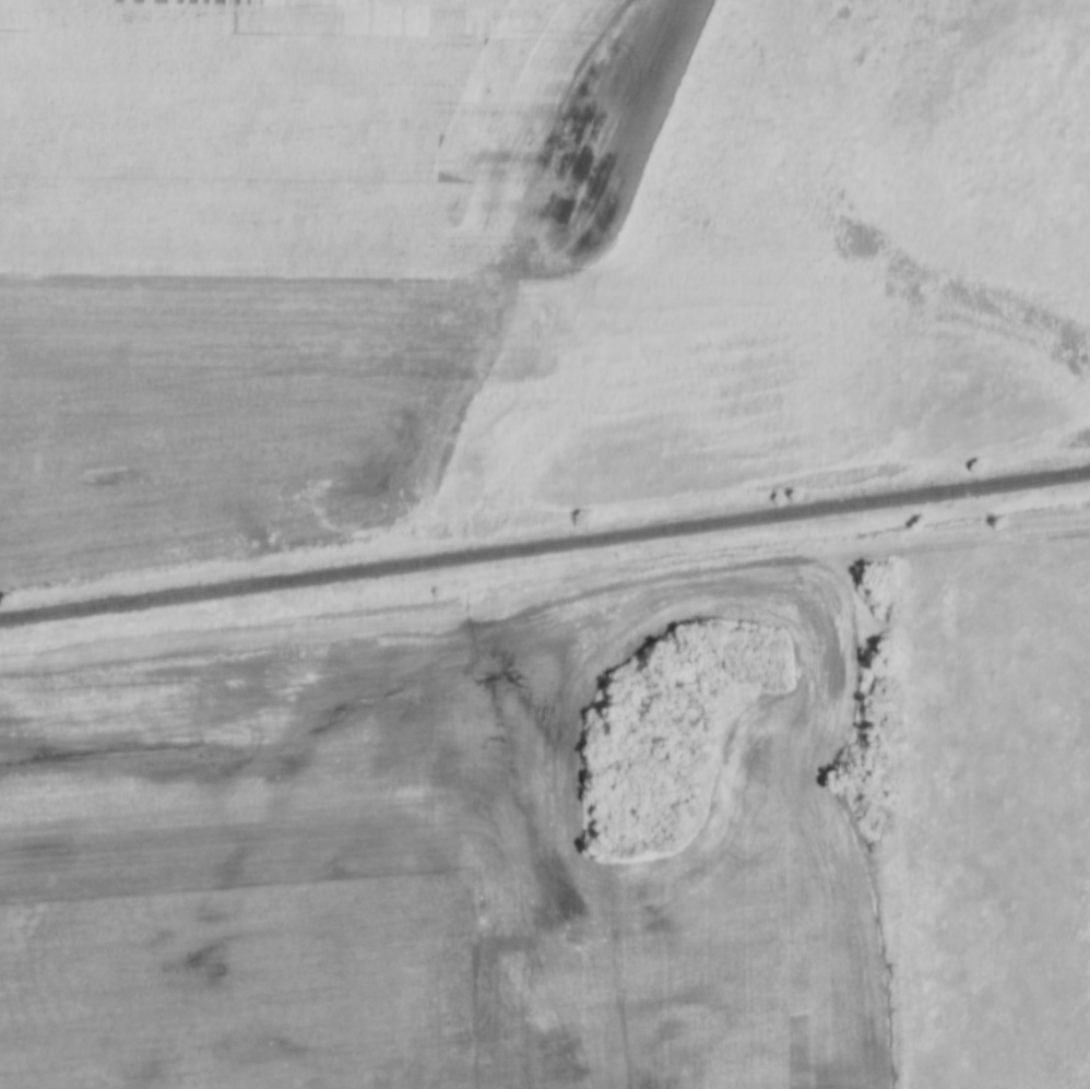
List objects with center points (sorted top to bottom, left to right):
railway: (545, 546)
road: (544, 600)

